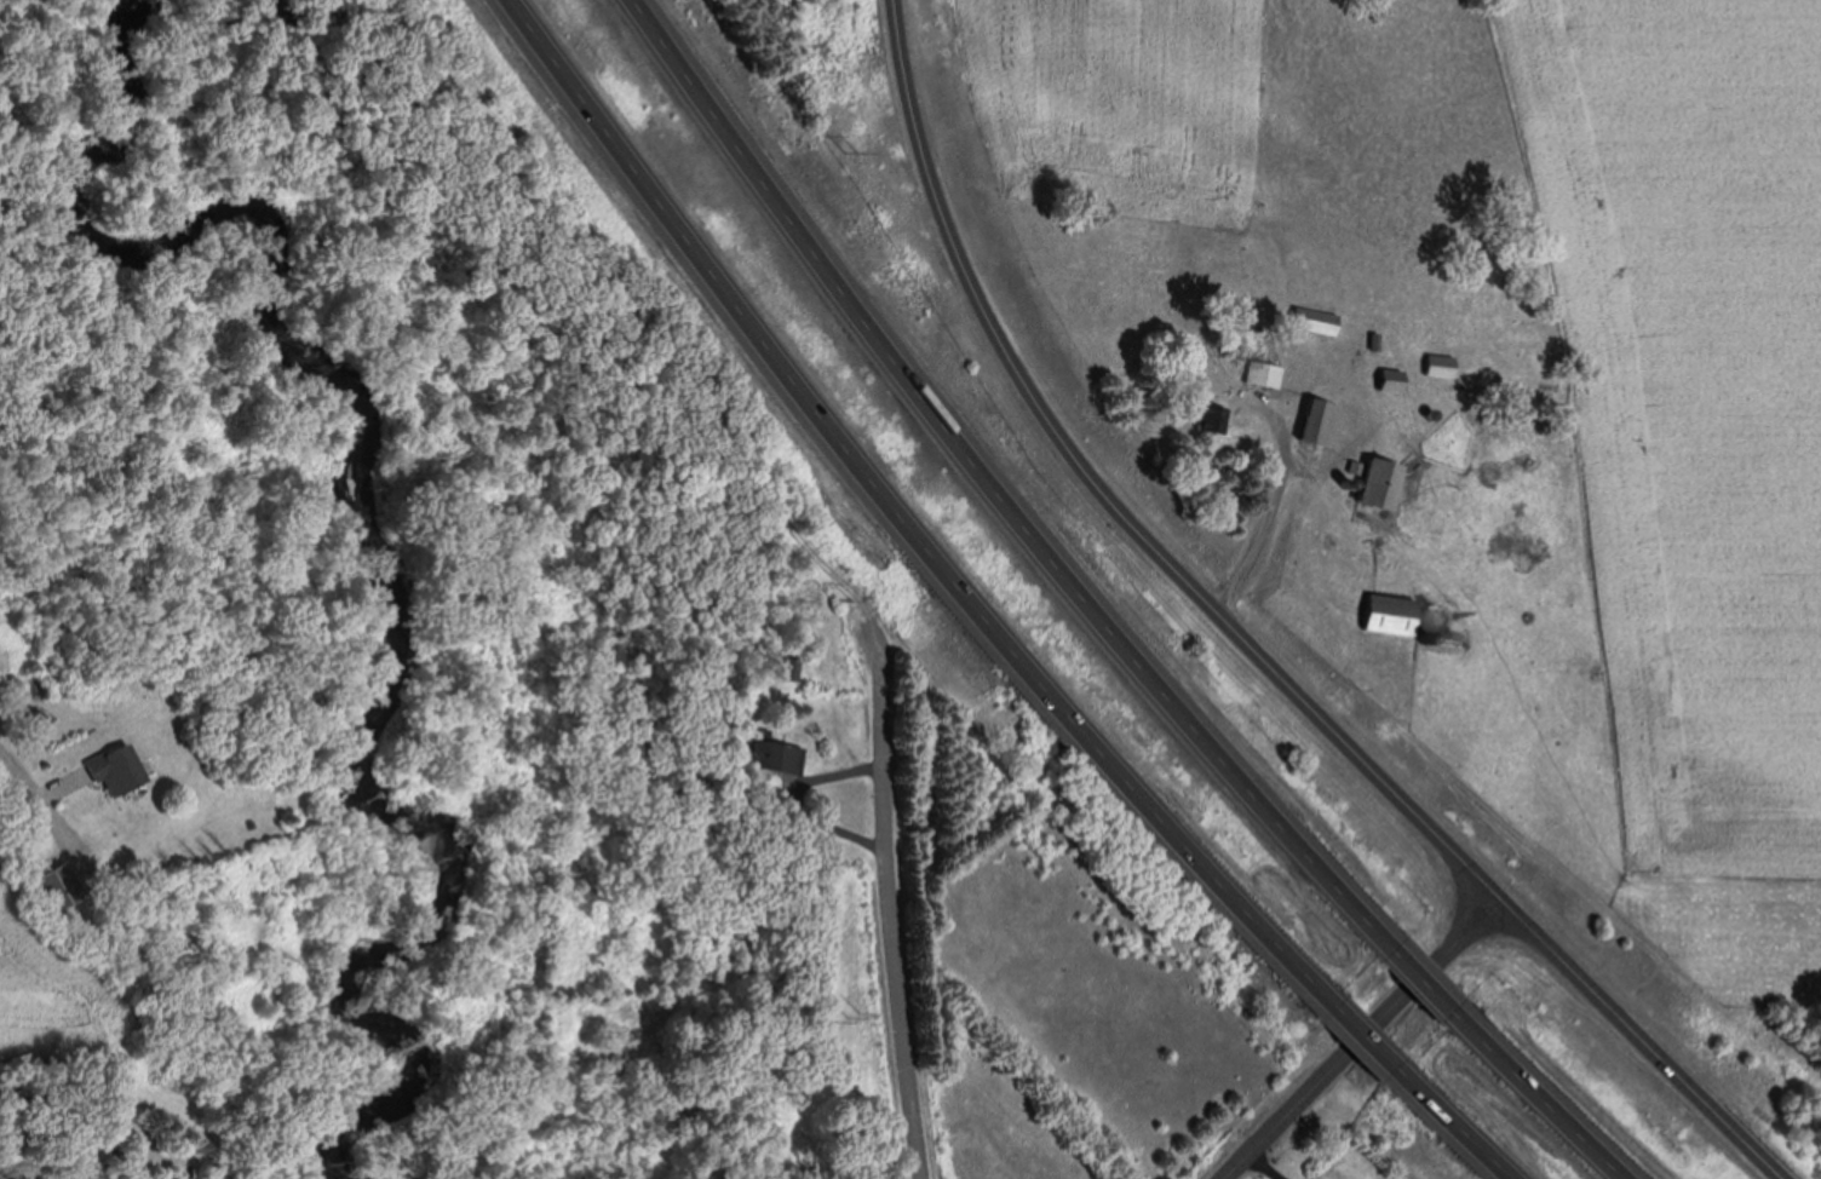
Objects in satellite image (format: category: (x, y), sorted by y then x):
power tower: (849, 153)
building: (1315, 320)
building: (1440, 366)
building: (1262, 378)
building: (1392, 380)
building: (1214, 414)
building: (1319, 427)
road: (989, 483)
building: (1378, 489)
road: (1114, 498)
road: (900, 512)
road: (1260, 522)
power tower: (849, 599)
building: (1391, 616)
building: (797, 665)
building: (774, 753)
building: (105, 767)
road: (22, 776)
building: (50, 886)
road: (886, 897)
road: (1431, 984)
power tower: (848, 1017)
road: (1365, 1039)
road: (1647, 1039)
road: (1351, 1045)
road: (1549, 1110)
road: (1443, 1135)
road: (1262, 1167)

